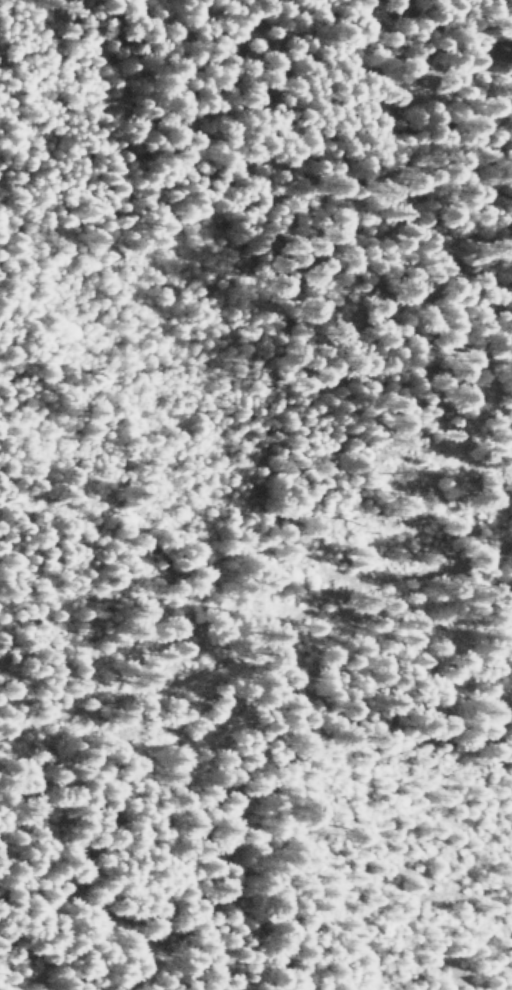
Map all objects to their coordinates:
road: (256, 638)

